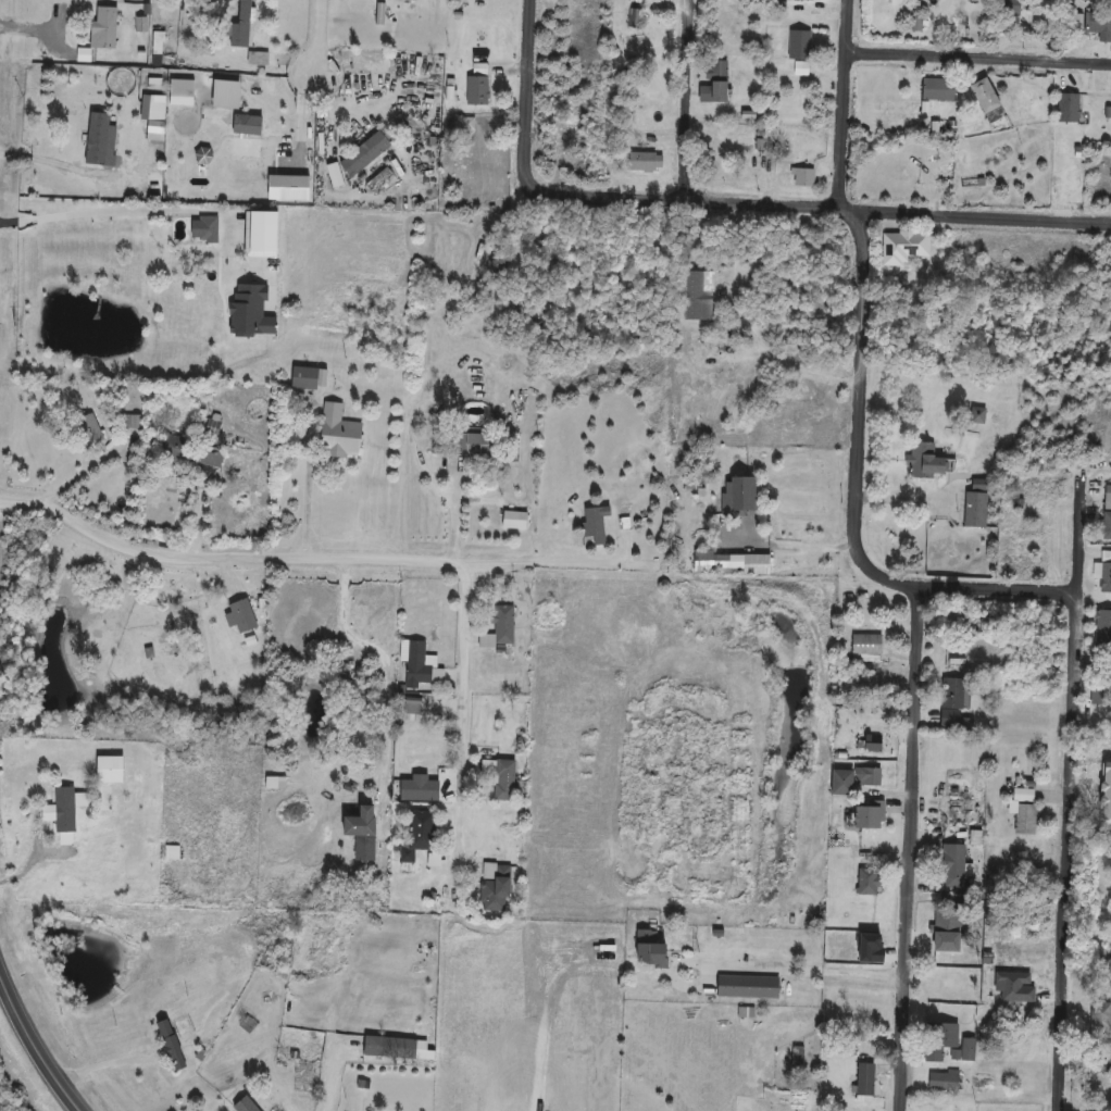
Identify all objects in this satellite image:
building: (1008, 8)
building: (635, 15)
building: (1098, 22)
building: (241, 26)
building: (104, 27)
road: (319, 36)
road: (46, 37)
building: (801, 43)
building: (258, 59)
road: (978, 60)
building: (715, 83)
building: (938, 89)
building: (477, 90)
building: (987, 96)
road: (685, 101)
road: (844, 107)
building: (1069, 108)
building: (332, 128)
building: (779, 139)
building: (365, 153)
building: (649, 159)
road: (54, 162)
building: (804, 177)
road: (122, 208)
road: (976, 220)
building: (209, 227)
road: (861, 242)
building: (907, 246)
building: (511, 313)
road: (749, 332)
building: (305, 377)
building: (128, 421)
building: (88, 426)
building: (339, 433)
building: (474, 441)
building: (192, 452)
building: (925, 461)
road: (79, 471)
road: (432, 482)
building: (695, 485)
road: (307, 486)
building: (740, 495)
road: (907, 499)
building: (976, 504)
building: (1107, 512)
road: (792, 542)
road: (221, 550)
road: (562, 561)
building: (732, 563)
building: (1106, 577)
building: (241, 616)
building: (957, 619)
building: (1102, 627)
building: (500, 628)
building: (867, 647)
road: (383, 658)
building: (422, 665)
building: (1100, 692)
building: (952, 702)
building: (413, 707)
road: (460, 736)
building: (873, 742)
building: (111, 770)
building: (501, 777)
road: (1070, 778)
building: (853, 779)
building: (420, 790)
building: (1024, 809)
building: (64, 813)
building: (870, 816)
building: (420, 834)
building: (365, 837)
road: (908, 847)
building: (956, 866)
building: (869, 883)
building: (495, 887)
building: (948, 931)
building: (651, 948)
road: (757, 968)
building: (749, 986)
building: (1100, 1015)
building: (939, 1039)
building: (171, 1046)
building: (390, 1048)
building: (969, 1049)
road: (36, 1053)
road: (102, 1061)
road: (329, 1079)
building: (865, 1079)
building: (944, 1081)
building: (300, 1093)
building: (246, 1106)

